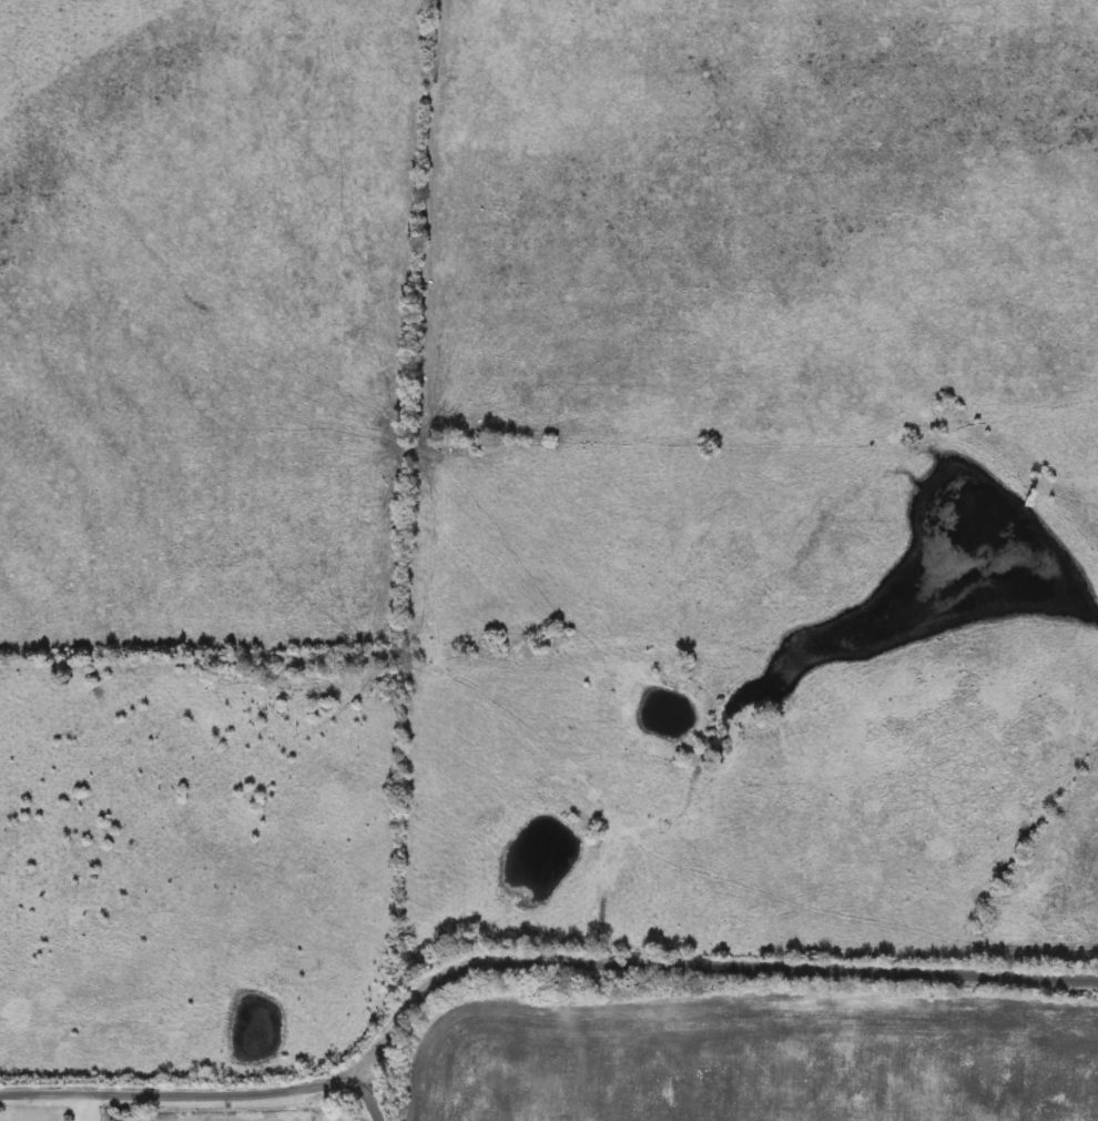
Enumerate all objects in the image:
road: (712, 965)
road: (196, 1091)
road: (392, 1094)
road: (325, 1103)

